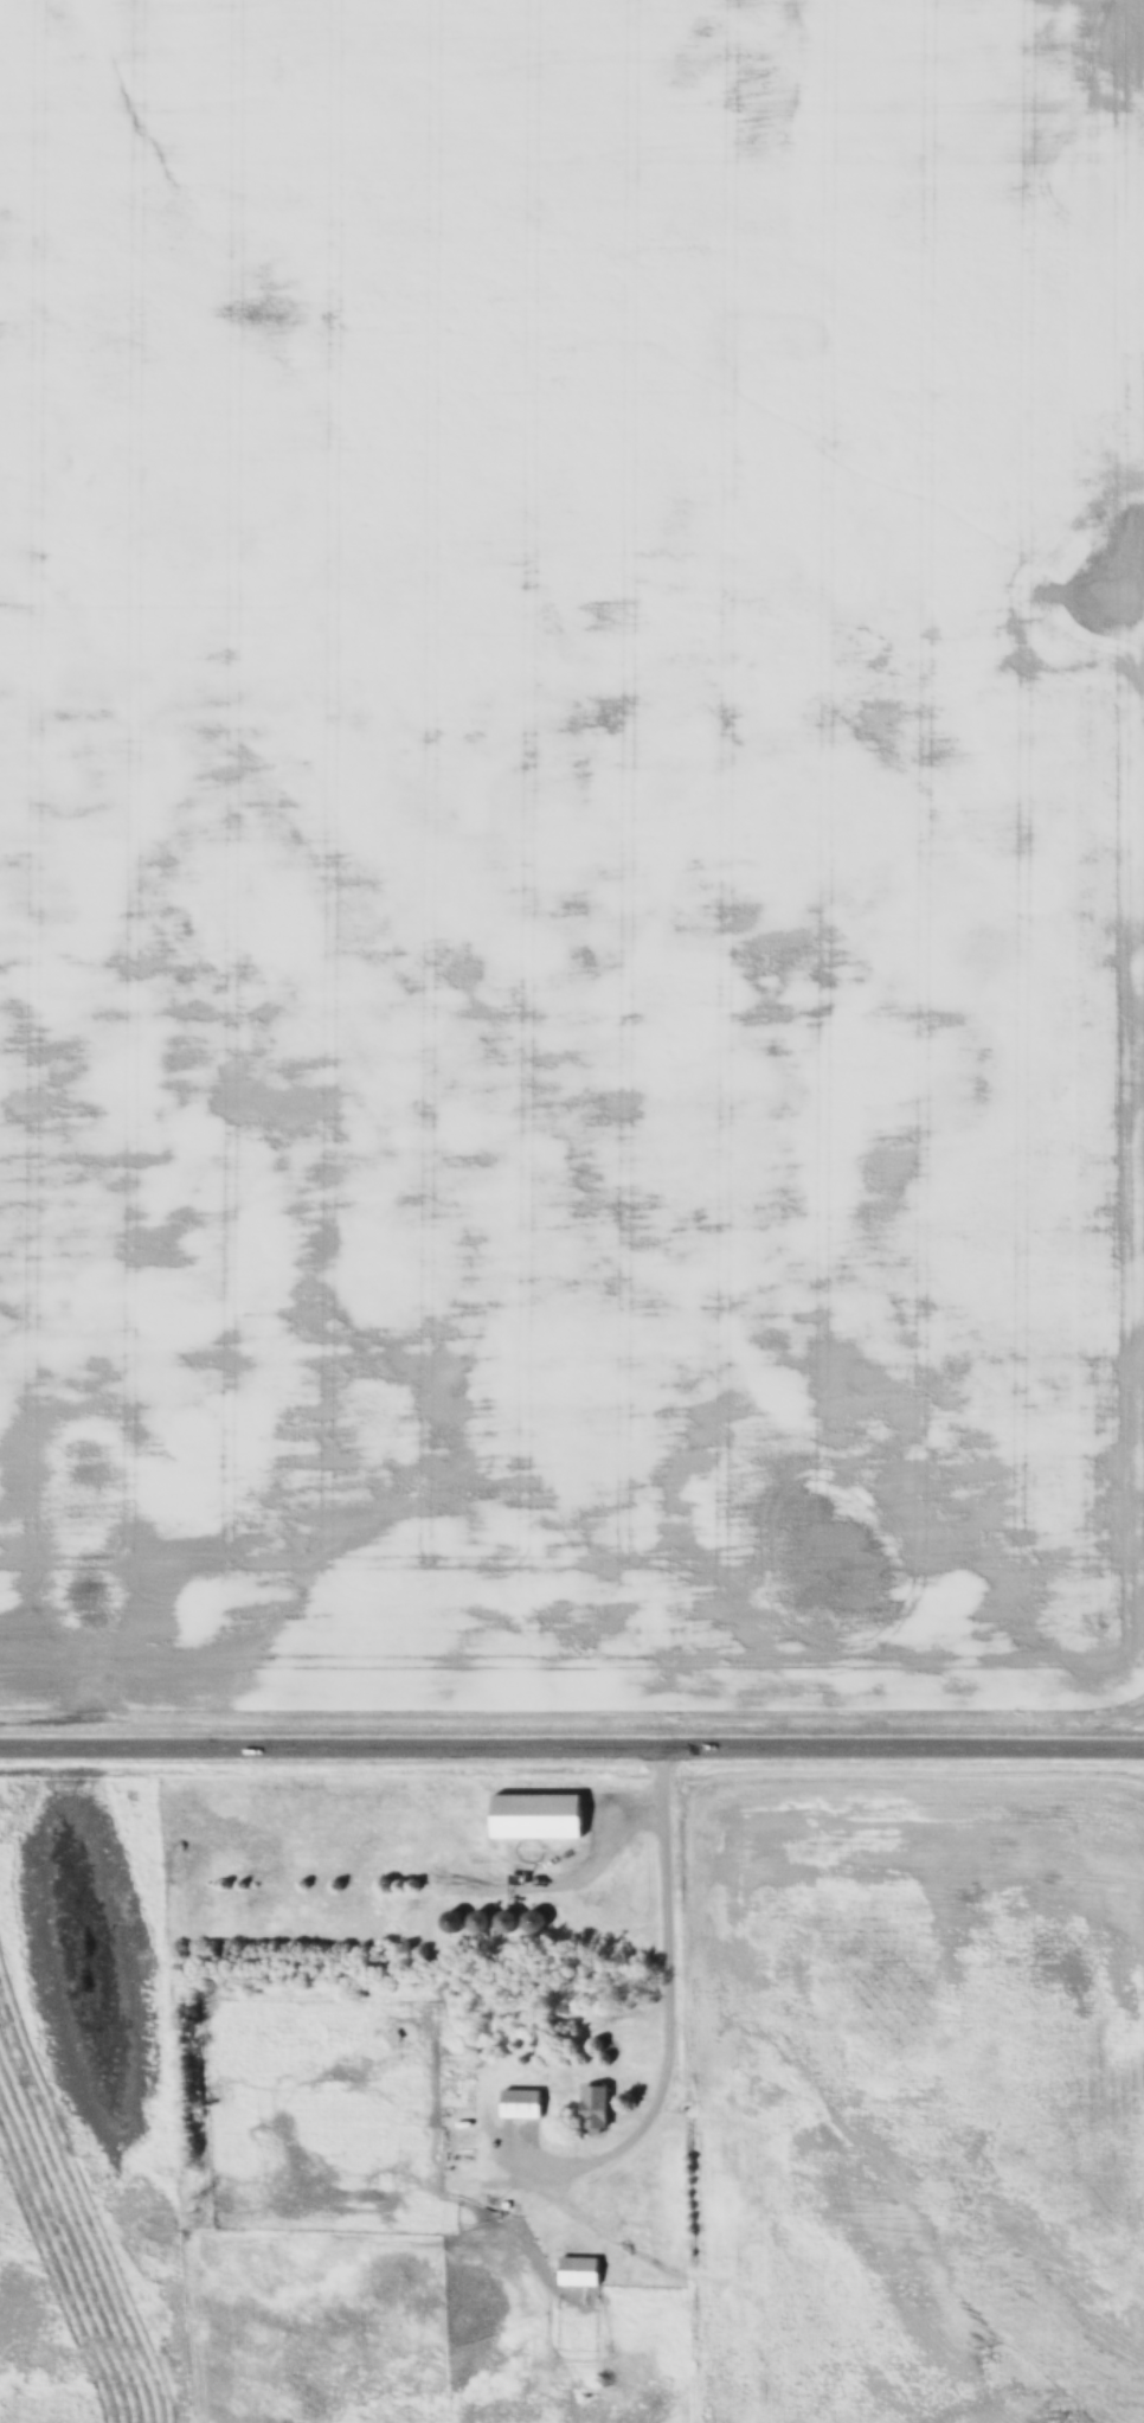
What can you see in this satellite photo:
road: (572, 1756)
building: (538, 1819)
building: (455, 1923)
road: (671, 1996)
building: (303, 2021)
building: (522, 2107)
building: (597, 2111)
building: (464, 2142)
building: (670, 2143)
building: (670, 2171)
building: (675, 2232)
building: (675, 2252)
building: (579, 2274)
building: (741, 2416)

